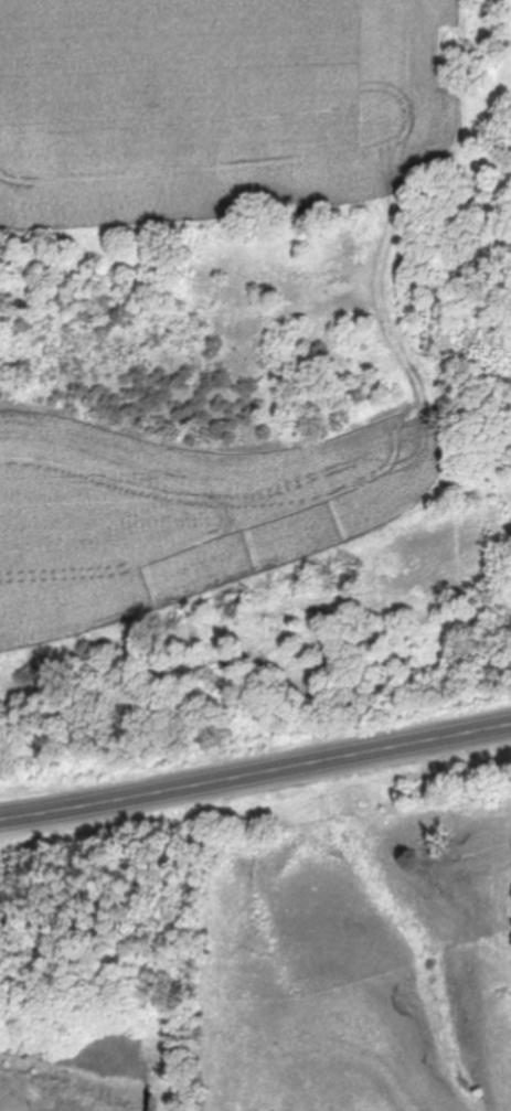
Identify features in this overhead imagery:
road: (255, 773)
crop: (358, 939)
quarry: (99, 964)

